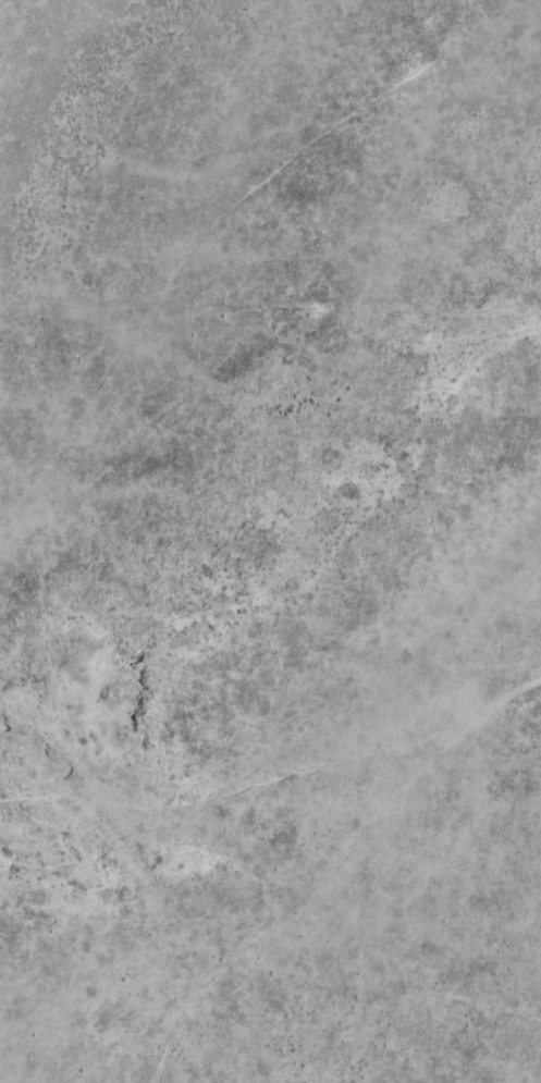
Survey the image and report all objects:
road: (293, 863)

